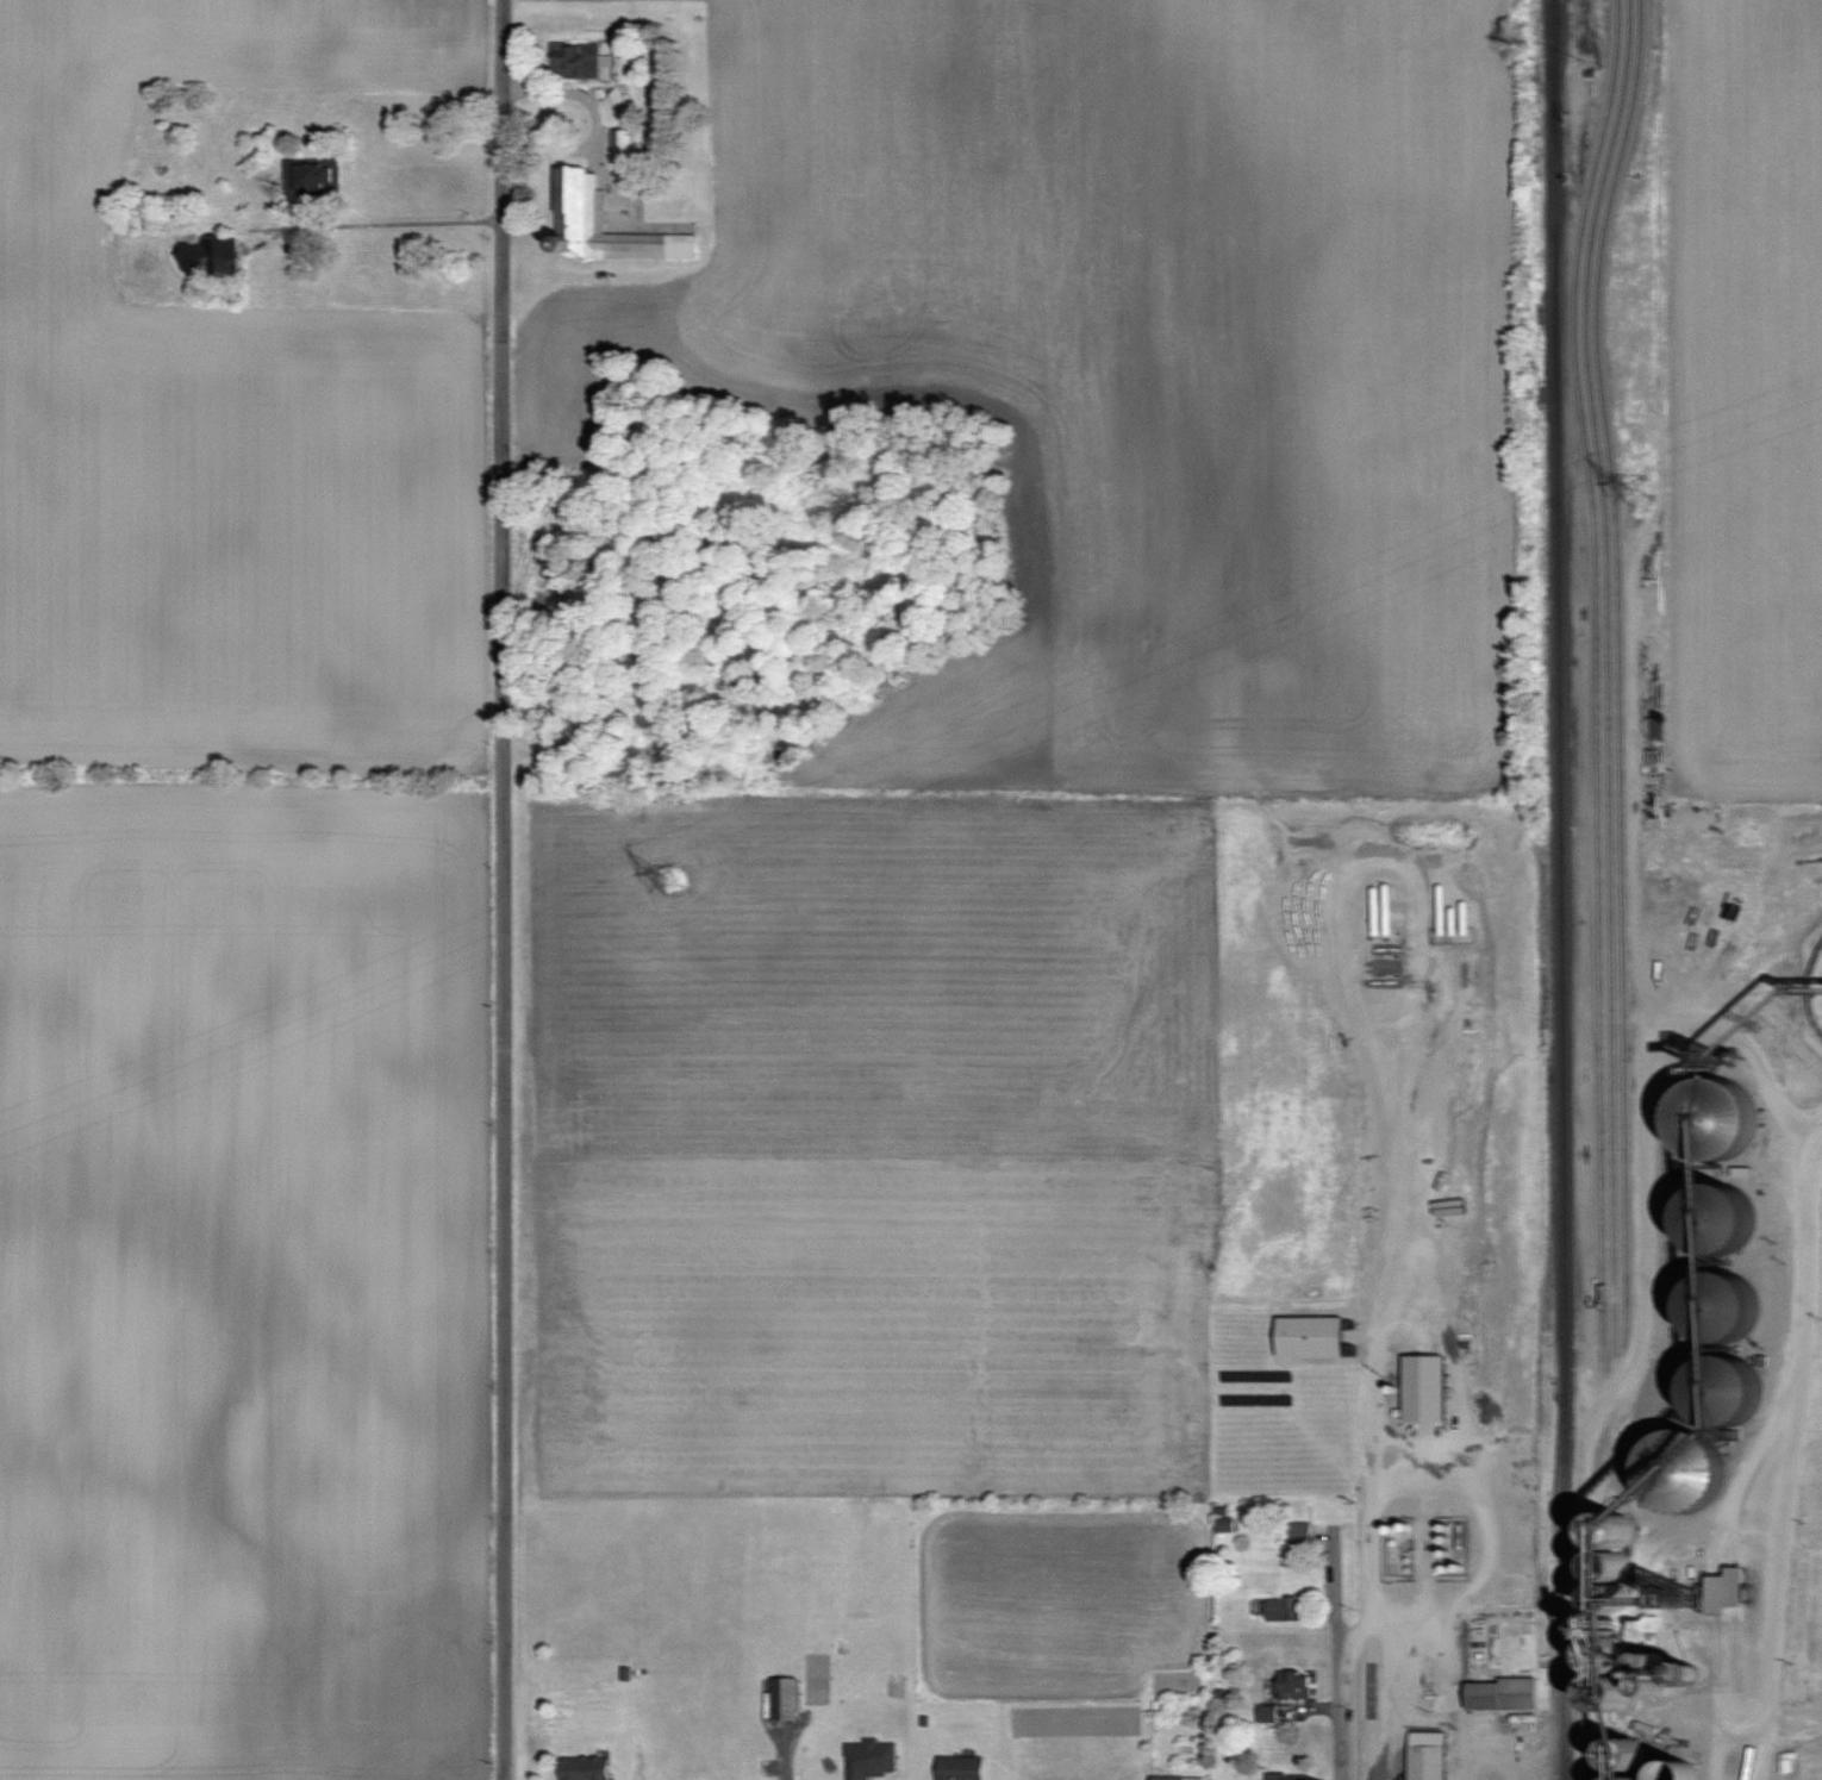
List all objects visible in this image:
railway: (1556, 58)
building: (576, 60)
building: (311, 177)
building: (581, 211)
road: (395, 221)
building: (213, 256)
power tower: (1640, 487)
railway: (1618, 679)
railway: (1596, 689)
railway: (1606, 693)
power tower: (672, 879)
road: (504, 889)
railway: (1559, 889)
silo: (1723, 1117)
building: (1717, 1217)
silo: (1717, 1217)
silo: (1722, 1306)
building: (1737, 1307)
building: (1704, 1309)
building: (1311, 1337)
building: (1712, 1375)
building: (1424, 1388)
silo: (1726, 1389)
railway: (1612, 1393)
railway: (1596, 1438)
building: (1684, 1469)
silo: (1681, 1470)
silo: (1612, 1530)
road: (1774, 1541)
silo: (1612, 1566)
railway: (1587, 1585)
railway: (1555, 1592)
silo: (1612, 1599)
building: (1287, 1610)
silo: (1610, 1655)
road: (1339, 1656)
building: (1506, 1660)
silo: (1654, 1662)
silo: (1654, 1685)
building: (1293, 1686)
silo: (1611, 1694)
building: (1266, 1715)
building: (1427, 1756)
silo: (1627, 1756)
building: (869, 1760)
road: (1728, 1765)
building: (584, 1768)
building: (960, 1768)
silo: (1679, 1770)
building: (1672, 1773)
building: (1175, 1778)
building: (1287, 1778)
silo: (1627, 1778)

